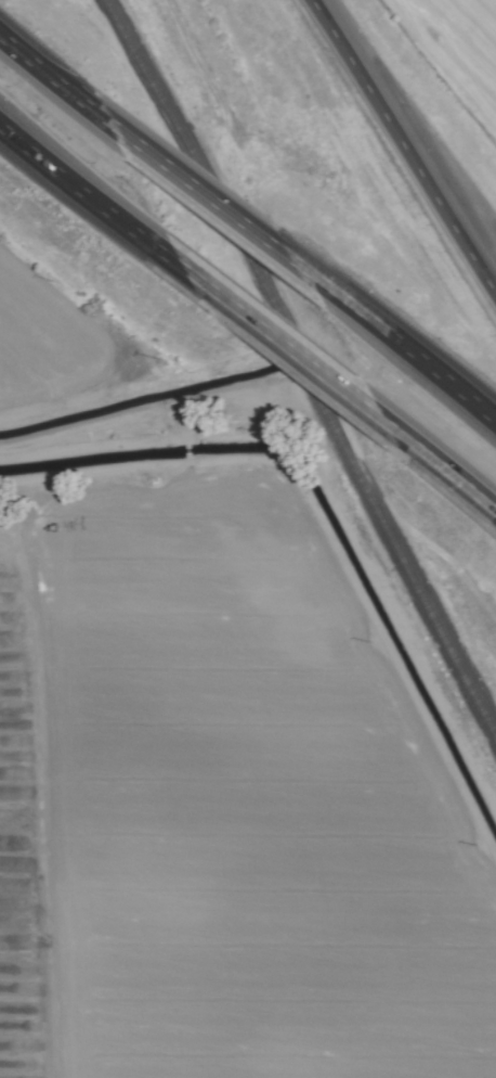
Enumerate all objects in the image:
airport: (455, 53)
road: (55, 76)
road: (407, 117)
road: (210, 193)
road: (104, 215)
road: (402, 341)
road: (296, 360)
railway: (300, 369)
road: (439, 471)

